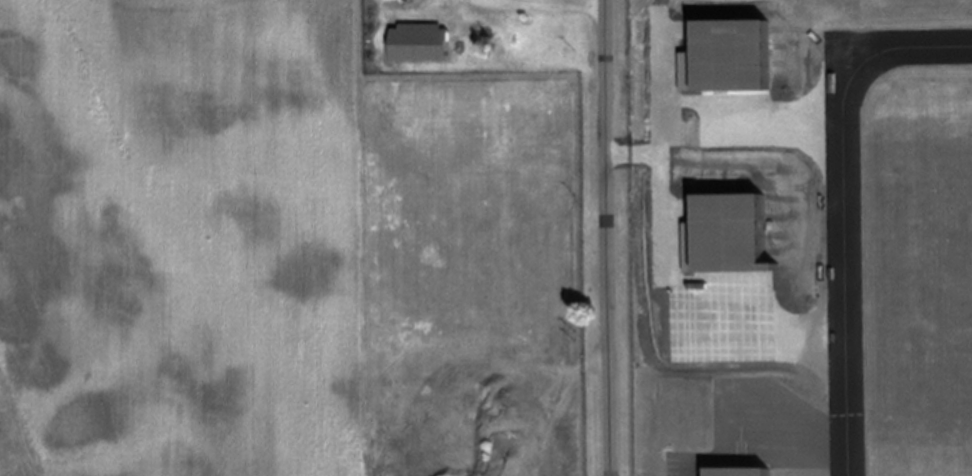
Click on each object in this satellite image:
building: (420, 41)
airport taxiway: (927, 45)
road: (612, 237)
airport: (486, 245)
airport taxiway: (844, 253)

